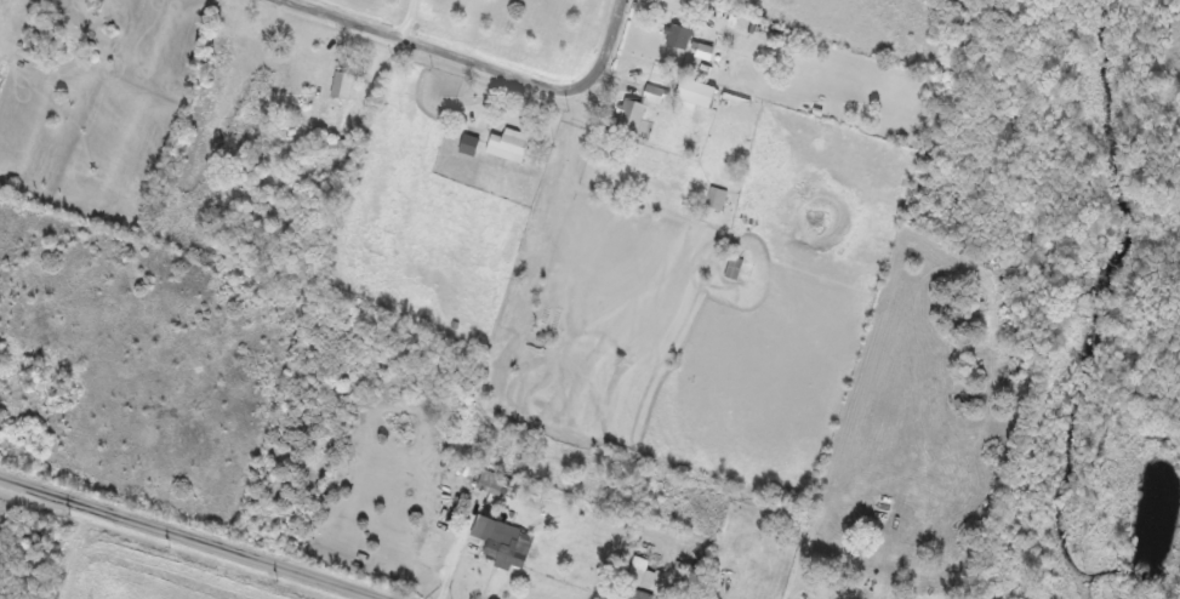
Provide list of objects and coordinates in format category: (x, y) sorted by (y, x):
road: (406, 19)
building: (679, 36)
road: (609, 44)
road: (433, 50)
building: (0, 61)
building: (240, 62)
building: (342, 85)
building: (697, 92)
building: (656, 95)
building: (629, 121)
building: (469, 146)
building: (509, 146)
building: (717, 199)
building: (491, 481)
road: (189, 537)
building: (511, 546)
building: (836, 582)
building: (633, 594)

